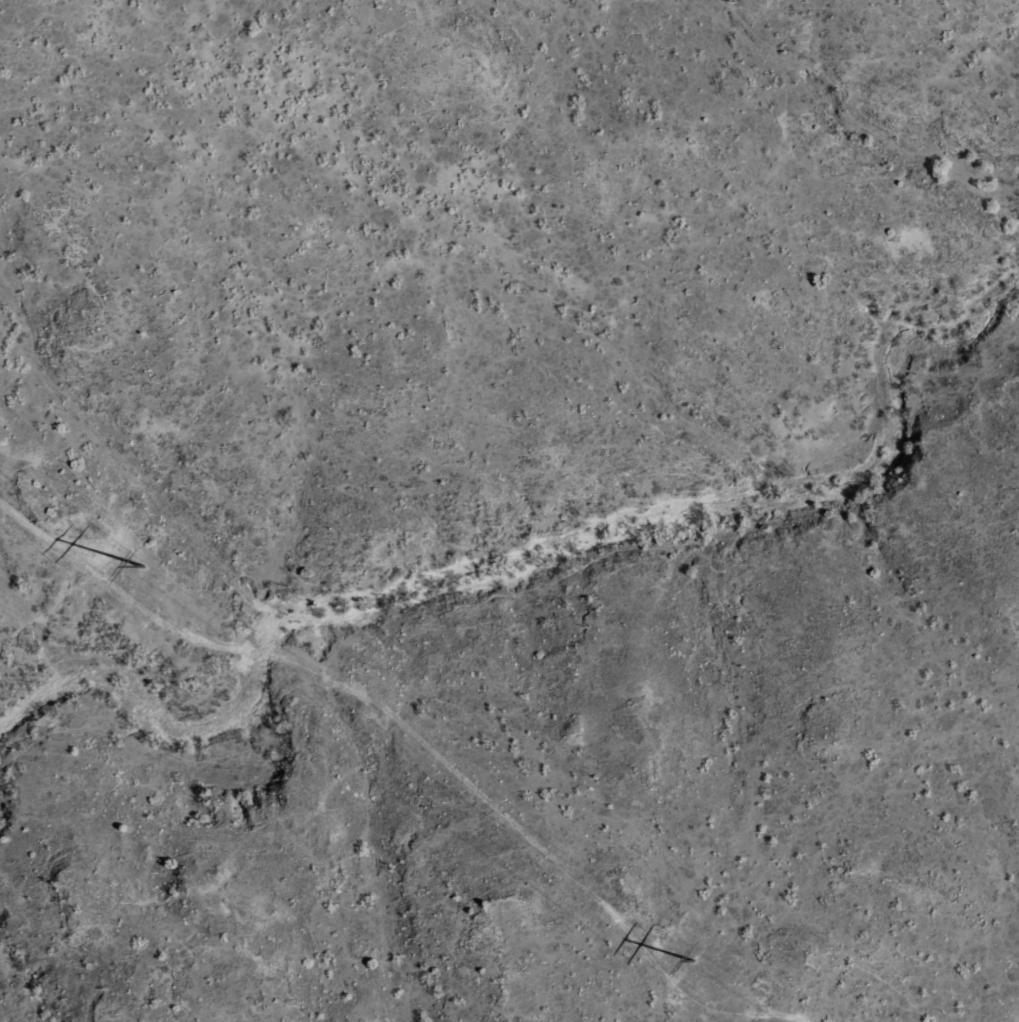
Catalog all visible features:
power tower: (142, 565)
power tower: (693, 959)

